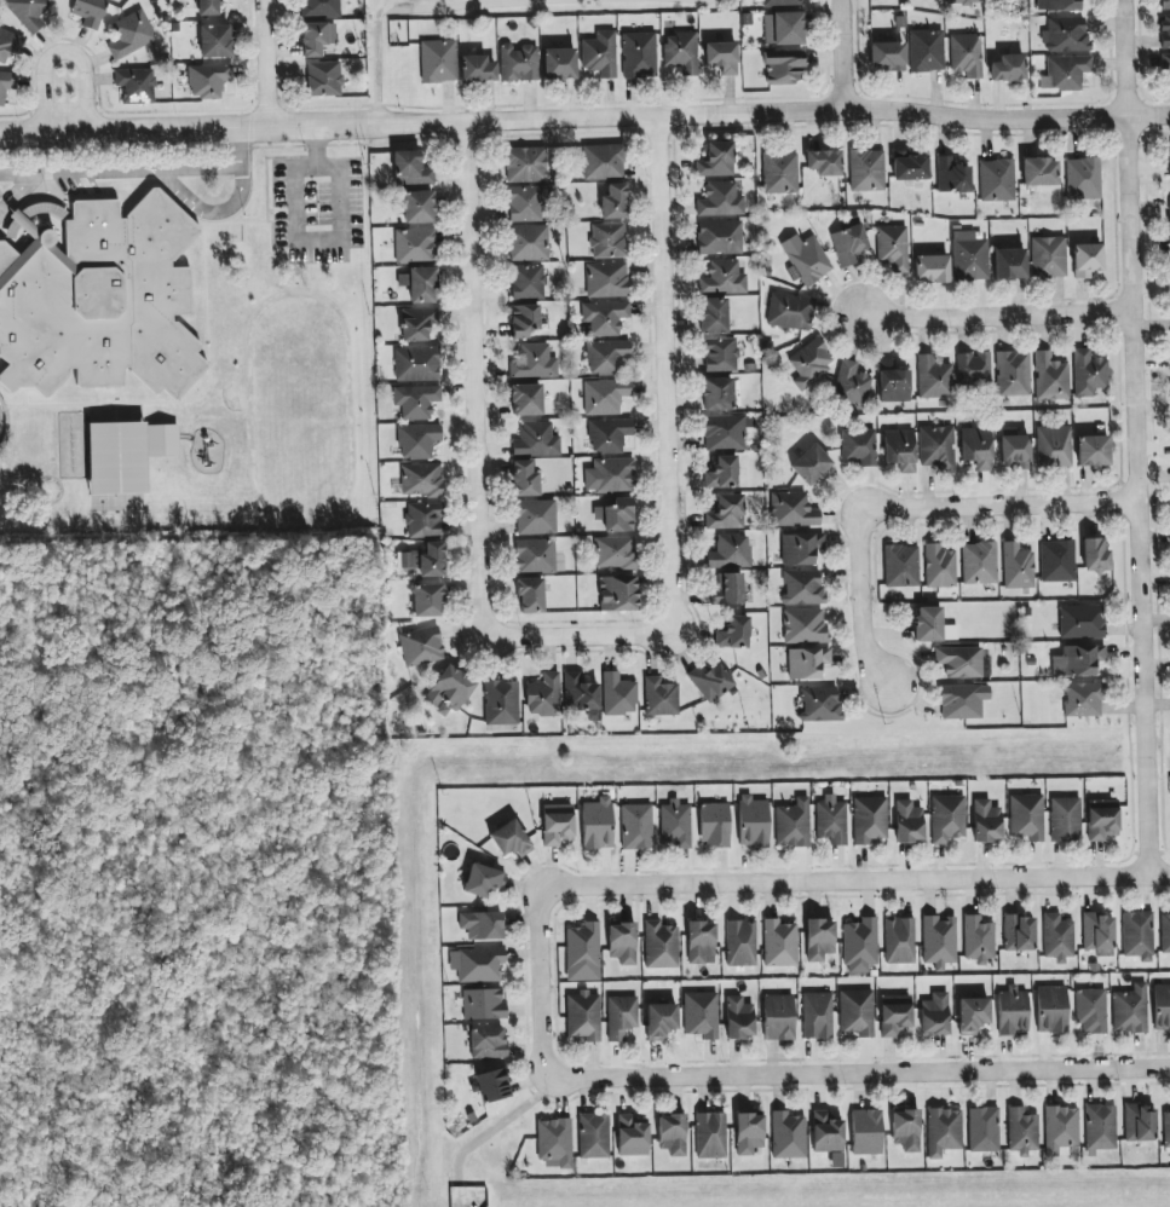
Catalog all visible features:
road: (697, 0)
building: (782, 2)
building: (963, 2)
road: (490, 4)
building: (1062, 5)
building: (1164, 5)
building: (207, 7)
building: (321, 7)
road: (397, 10)
building: (28, 12)
building: (88, 12)
building: (784, 29)
building: (1165, 30)
building: (132, 35)
building: (1066, 35)
building: (316, 37)
building: (215, 41)
building: (10, 45)
road: (58, 50)
building: (927, 51)
building: (681, 52)
building: (600, 54)
road: (841, 54)
building: (639, 56)
building: (887, 56)
building: (966, 56)
building: (722, 57)
road: (264, 60)
building: (438, 60)
building: (518, 63)
building: (1165, 63)
building: (559, 64)
building: (783, 68)
building: (1008, 68)
building: (477, 69)
building: (1067, 73)
building: (323, 79)
building: (208, 80)
building: (6, 85)
building: (136, 86)
road: (584, 117)
building: (1169, 158)
building: (716, 160)
building: (603, 162)
building: (824, 162)
building: (525, 164)
building: (910, 166)
building: (410, 169)
road: (121, 171)
building: (866, 171)
building: (1039, 172)
building: (779, 173)
building: (952, 175)
building: (1083, 179)
building: (997, 180)
road: (17, 192)
building: (720, 200)
building: (613, 202)
building: (526, 204)
building: (1169, 206)
road: (232, 207)
building: (417, 207)
building: (1169, 229)
building: (717, 237)
road: (293, 238)
building: (607, 241)
building: (528, 243)
building: (848, 244)
building: (415, 246)
building: (893, 247)
building: (969, 256)
building: (1048, 258)
building: (806, 259)
building: (1087, 260)
building: (1009, 264)
building: (932, 268)
building: (722, 278)
building: (606, 279)
building: (528, 282)
building: (420, 284)
building: (98, 300)
building: (790, 311)
road: (997, 314)
building: (713, 316)
building: (605, 317)
building: (524, 320)
building: (417, 323)
building: (720, 354)
road: (473, 357)
building: (606, 357)
building: (534, 362)
building: (416, 364)
building: (808, 364)
building: (973, 368)
road: (667, 369)
building: (1013, 374)
building: (1089, 374)
building: (933, 377)
building: (1050, 377)
building: (893, 382)
building: (851, 386)
building: (717, 394)
building: (605, 397)
building: (526, 400)
building: (416, 402)
building: (726, 432)
building: (609, 435)
road: (1135, 438)
building: (161, 440)
building: (417, 440)
building: (536, 440)
building: (858, 446)
building: (1054, 446)
building: (936, 447)
building: (976, 447)
building: (1015, 449)
building: (900, 450)
building: (1093, 451)
building: (116, 458)
building: (811, 464)
building: (722, 473)
building: (610, 475)
building: (524, 479)
building: (421, 480)
road: (1036, 507)
building: (793, 510)
building: (726, 513)
building: (616, 515)
building: (536, 516)
building: (423, 520)
building: (801, 549)
building: (730, 551)
building: (615, 553)
building: (535, 556)
building: (1095, 556)
building: (423, 561)
building: (1057, 561)
building: (979, 564)
road: (859, 565)
building: (901, 566)
building: (939, 566)
building: (1018, 566)
building: (802, 587)
building: (728, 589)
building: (617, 594)
building: (530, 596)
building: (428, 600)
building: (1082, 622)
building: (928, 624)
building: (805, 625)
building: (733, 633)
road: (561, 637)
building: (421, 646)
building: (1078, 660)
building: (959, 662)
building: (807, 663)
building: (710, 683)
building: (448, 692)
building: (618, 694)
building: (542, 695)
building: (581, 695)
building: (659, 698)
building: (1083, 699)
building: (963, 701)
building: (501, 703)
building: (819, 704)
building: (947, 818)
building: (1025, 818)
building: (869, 820)
building: (1065, 820)
building: (753, 821)
building: (986, 821)
building: (1102, 821)
building: (831, 822)
building: (909, 822)
building: (598, 824)
building: (793, 824)
building: (557, 825)
building: (674, 825)
building: (714, 825)
building: (636, 827)
building: (511, 839)
building: (483, 880)
road: (854, 882)
building: (482, 925)
building: (1165, 932)
building: (1019, 934)
building: (1099, 934)
building: (1137, 935)
building: (1057, 936)
building: (978, 939)
building: (819, 940)
building: (899, 940)
building: (701, 941)
building: (740, 942)
building: (939, 942)
building: (622, 943)
building: (779, 943)
building: (661, 946)
building: (860, 946)
building: (582, 953)
building: (479, 965)
road: (544, 983)
building: (483, 1004)
building: (1162, 1007)
building: (1051, 1010)
building: (1129, 1010)
building: (1013, 1011)
building: (1091, 1011)
building: (857, 1012)
building: (701, 1015)
building: (895, 1015)
building: (935, 1015)
building: (973, 1015)
building: (583, 1016)
building: (621, 1016)
building: (818, 1016)
building: (779, 1017)
building: (739, 1018)
building: (661, 1021)
building: (488, 1043)
road: (859, 1075)
building: (491, 1085)
building: (1139, 1124)
road: (496, 1126)
building: (1100, 1128)
building: (906, 1130)
building: (984, 1130)
building: (1060, 1130)
building: (1166, 1130)
building: (944, 1131)
building: (1021, 1131)
building: (866, 1132)
building: (826, 1133)
building: (672, 1134)
building: (749, 1134)
building: (593, 1136)
building: (632, 1136)
building: (710, 1136)
building: (788, 1136)
building: (554, 1143)

